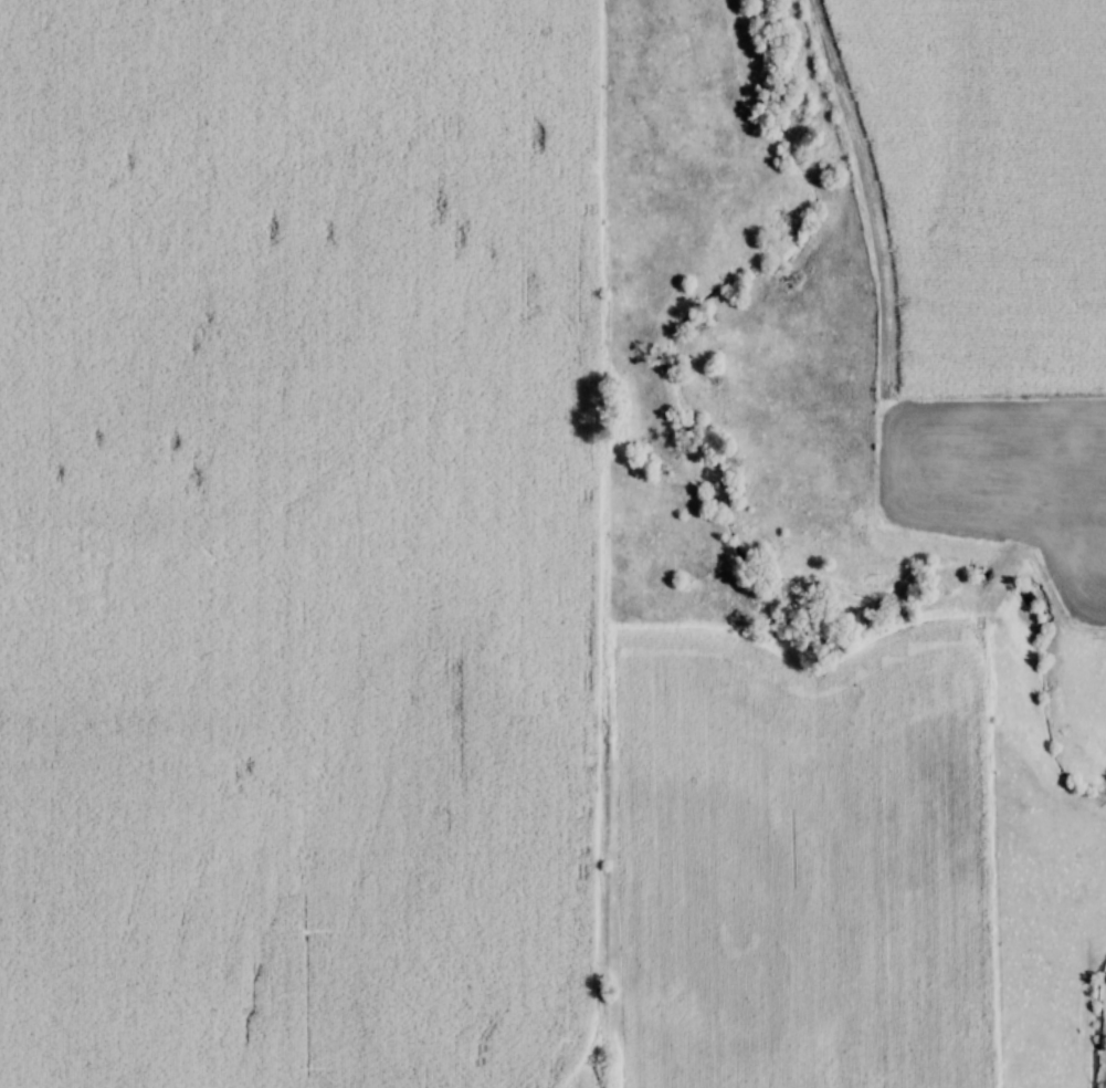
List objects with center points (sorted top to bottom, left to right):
crop: (975, 184)
crop: (293, 543)
crop: (794, 860)

